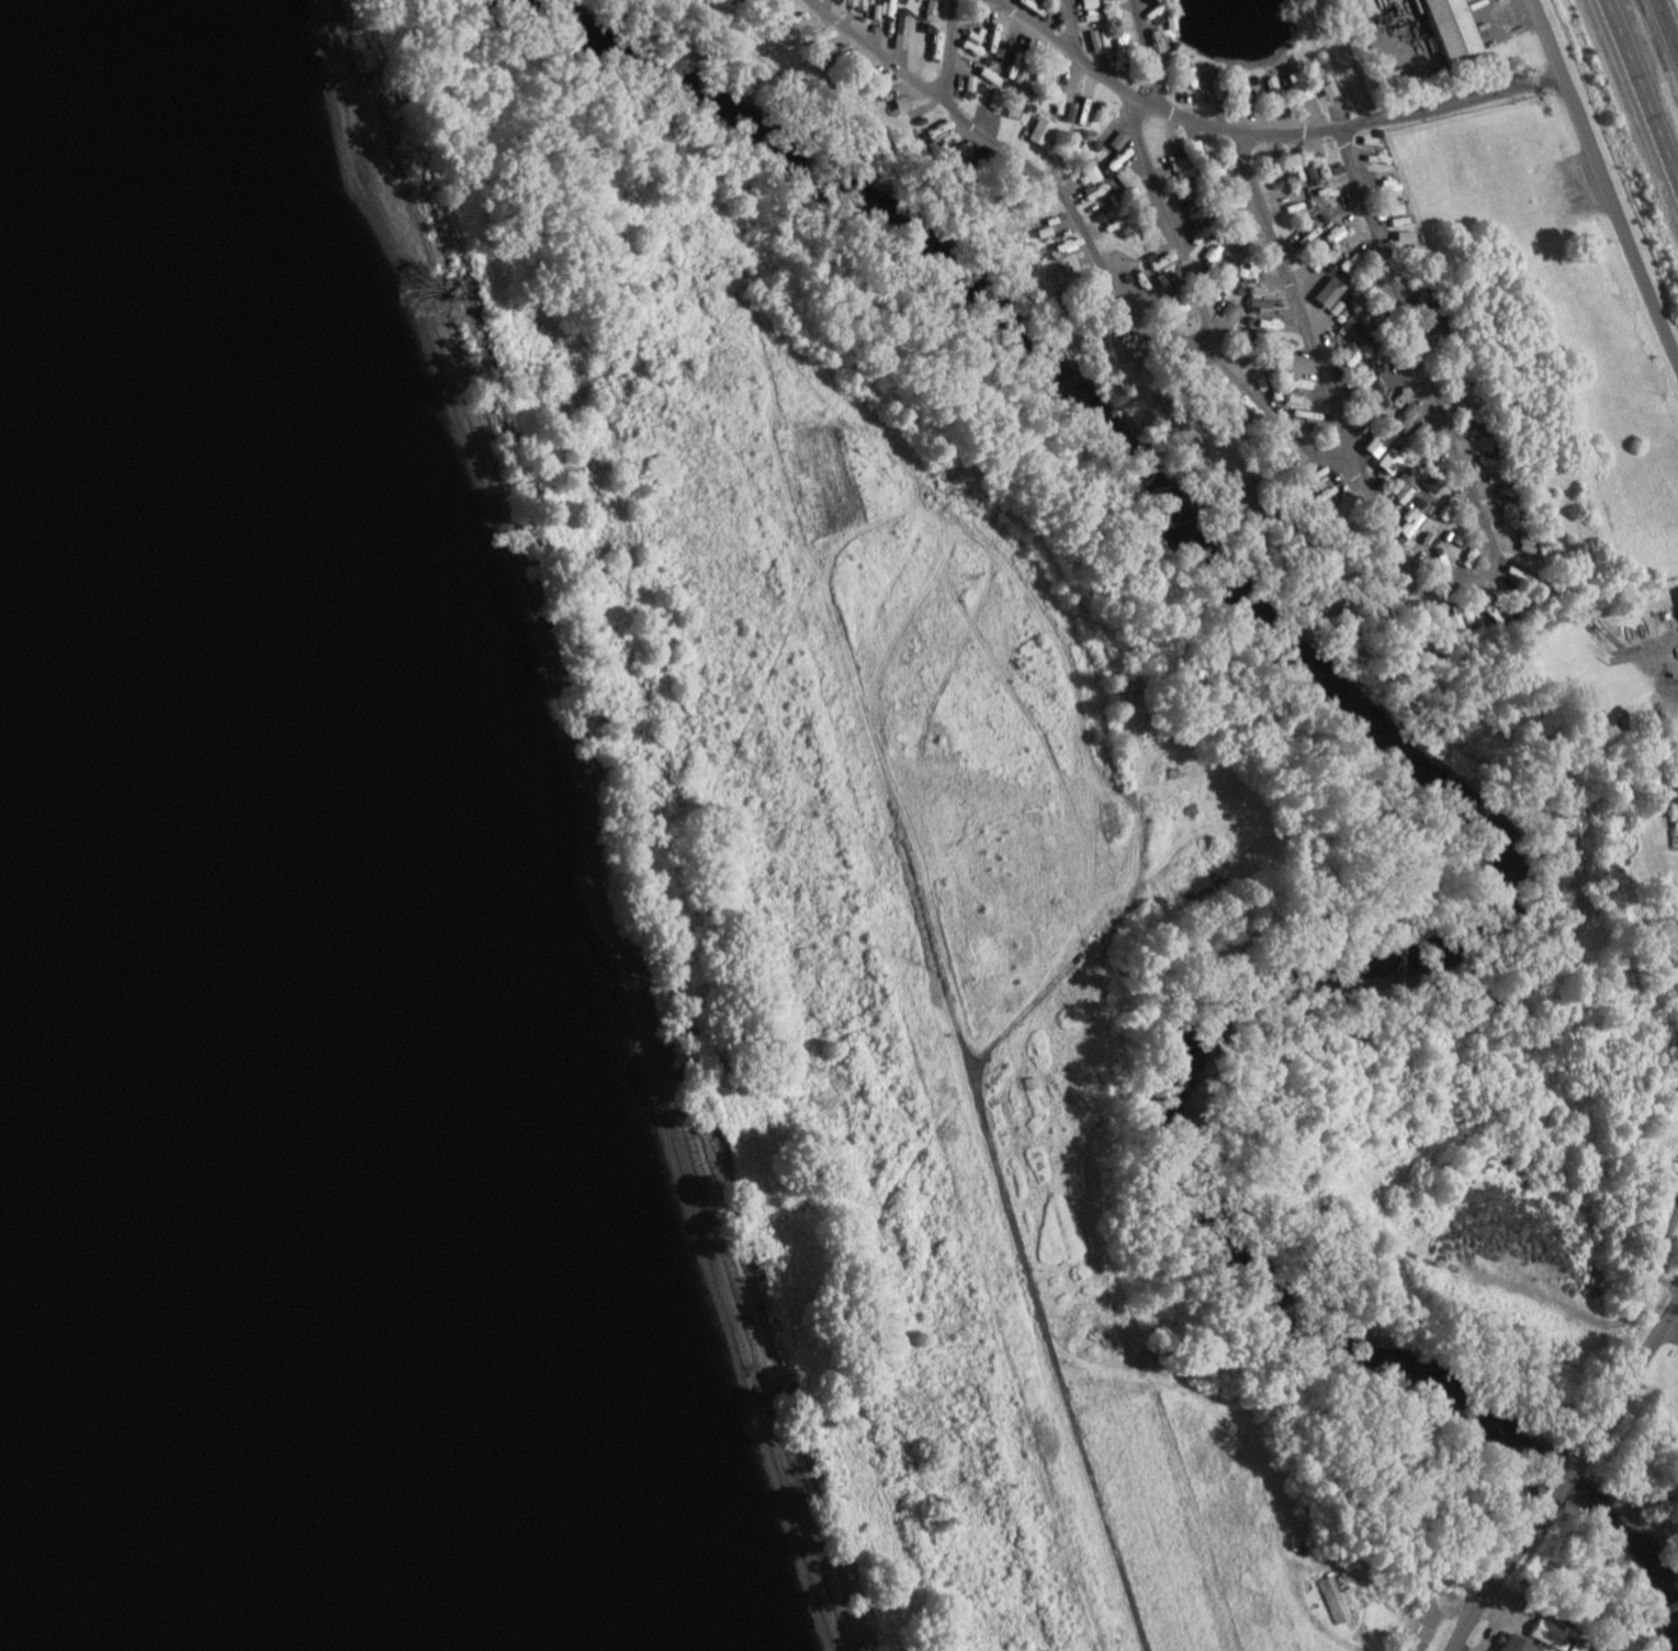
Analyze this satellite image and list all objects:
building: (1085, 5)
building: (928, 8)
building: (897, 25)
road: (1070, 25)
road: (1667, 26)
building: (1451, 30)
building: (1094, 42)
building: (931, 45)
road: (947, 49)
road: (1146, 53)
road: (1332, 60)
road: (1643, 88)
building: (1324, 91)
building: (1066, 113)
building: (1036, 132)
road: (1261, 133)
building: (1114, 141)
building: (1376, 157)
building: (1114, 169)
building: (1090, 171)
building: (1302, 173)
road: (1601, 183)
road: (1169, 221)
building: (1399, 238)
building: (1319, 288)
road: (1293, 295)
building: (1360, 375)
building: (1394, 382)
building: (1293, 383)
building: (1297, 416)
road: (1340, 456)
building: (1307, 480)
building: (1397, 481)
building: (1426, 485)
building: (1677, 593)
road: (1645, 1354)
river: (106, 1407)
road: (1564, 1475)
road: (1483, 1597)
building: (1540, 1630)
building: (1508, 1644)

